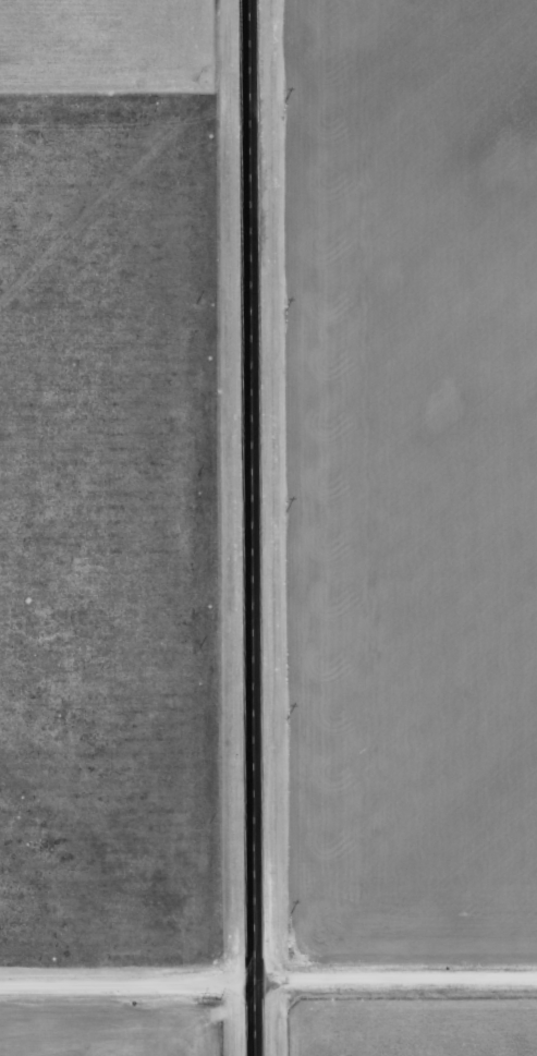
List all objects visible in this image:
road: (248, 527)
road: (268, 984)

